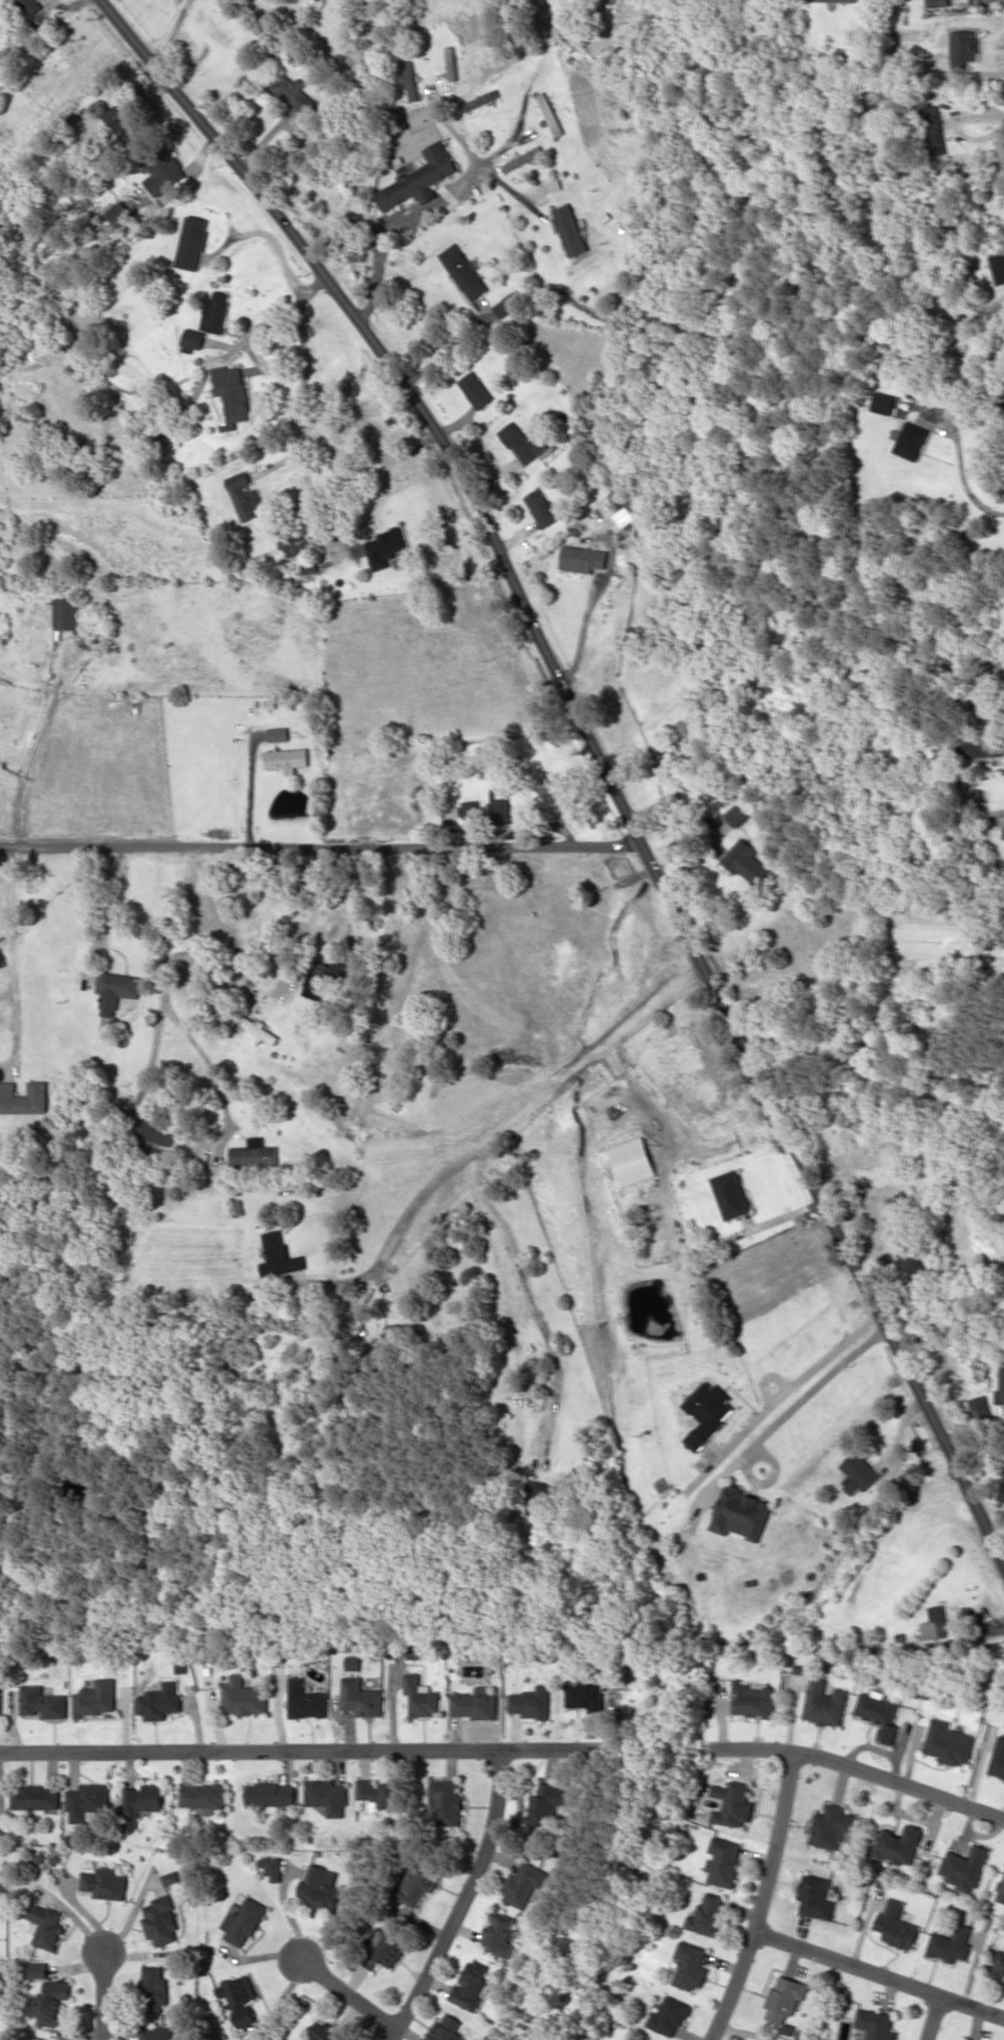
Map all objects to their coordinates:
building: (836, 0)
building: (936, 2)
building: (31, 5)
building: (214, 28)
building: (450, 62)
building: (410, 80)
building: (294, 93)
building: (479, 100)
building: (550, 114)
building: (123, 124)
building: (934, 130)
building: (523, 157)
building: (164, 171)
building: (418, 178)
building: (120, 214)
building: (570, 229)
building: (191, 242)
building: (997, 266)
building: (462, 271)
building: (504, 305)
building: (215, 312)
building: (193, 338)
building: (475, 389)
building: (231, 392)
building: (882, 402)
building: (910, 440)
building: (522, 441)
building: (246, 498)
building: (541, 507)
building: (621, 508)
building: (294, 544)
building: (386, 546)
building: (583, 558)
building: (66, 612)
building: (278, 733)
building: (980, 746)
road: (597, 752)
building: (287, 758)
building: (500, 804)
building: (471, 808)
building: (736, 815)
road: (321, 847)
building: (745, 861)
building: (321, 977)
building: (115, 990)
building: (260, 1029)
building: (23, 1097)
road: (525, 1107)
building: (157, 1130)
building: (254, 1155)
building: (631, 1160)
building: (730, 1193)
building: (280, 1255)
building: (917, 1270)
building: (405, 1333)
building: (1000, 1385)
building: (978, 1407)
building: (707, 1412)
building: (858, 1472)
building: (1001, 1490)
building: (540, 1498)
building: (741, 1513)
building: (936, 1623)
building: (243, 1696)
building: (422, 1696)
building: (584, 1696)
building: (362, 1697)
building: (96, 1698)
building: (306, 1700)
building: (752, 1700)
building: (0, 1701)
building: (161, 1701)
building: (531, 1701)
building: (43, 1702)
building: (475, 1703)
building: (825, 1703)
building: (879, 1713)
building: (948, 1742)
road: (303, 1751)
building: (997, 1759)
road: (862, 1773)
building: (380, 1793)
building: (271, 1794)
building: (204, 1795)
building: (36, 1796)
building: (326, 1796)
building: (447, 1800)
building: (87, 1801)
building: (141, 1802)
building: (549, 1803)
building: (734, 1803)
building: (832, 1825)
building: (898, 1843)
river: (634, 1849)
building: (725, 1861)
building: (963, 1866)
building: (271, 1867)
building: (171, 1877)
building: (105, 1882)
building: (417, 1883)
building: (524, 1883)
building: (320, 1888)
building: (1001, 1890)
building: (815, 1896)
road: (766, 1900)
road: (463, 1901)
building: (708, 1915)
building: (161, 1920)
building: (243, 1920)
building: (46, 1925)
building: (896, 1925)
building: (499, 1934)
building: (950, 1944)
building: (382, 1948)
building: (998, 1963)
building: (691, 1965)
building: (38, 1969)
road: (881, 1973)
building: (470, 1985)
building: (154, 1988)
road: (351, 1990)
road: (108, 1993)
building: (239, 1998)
building: (784, 1998)
building: (51, 2002)
building: (669, 2016)
road: (934, 2017)
building: (875, 2024)
building: (445, 2029)
building: (157, 2033)
building: (322, 2033)
building: (648, 2039)

